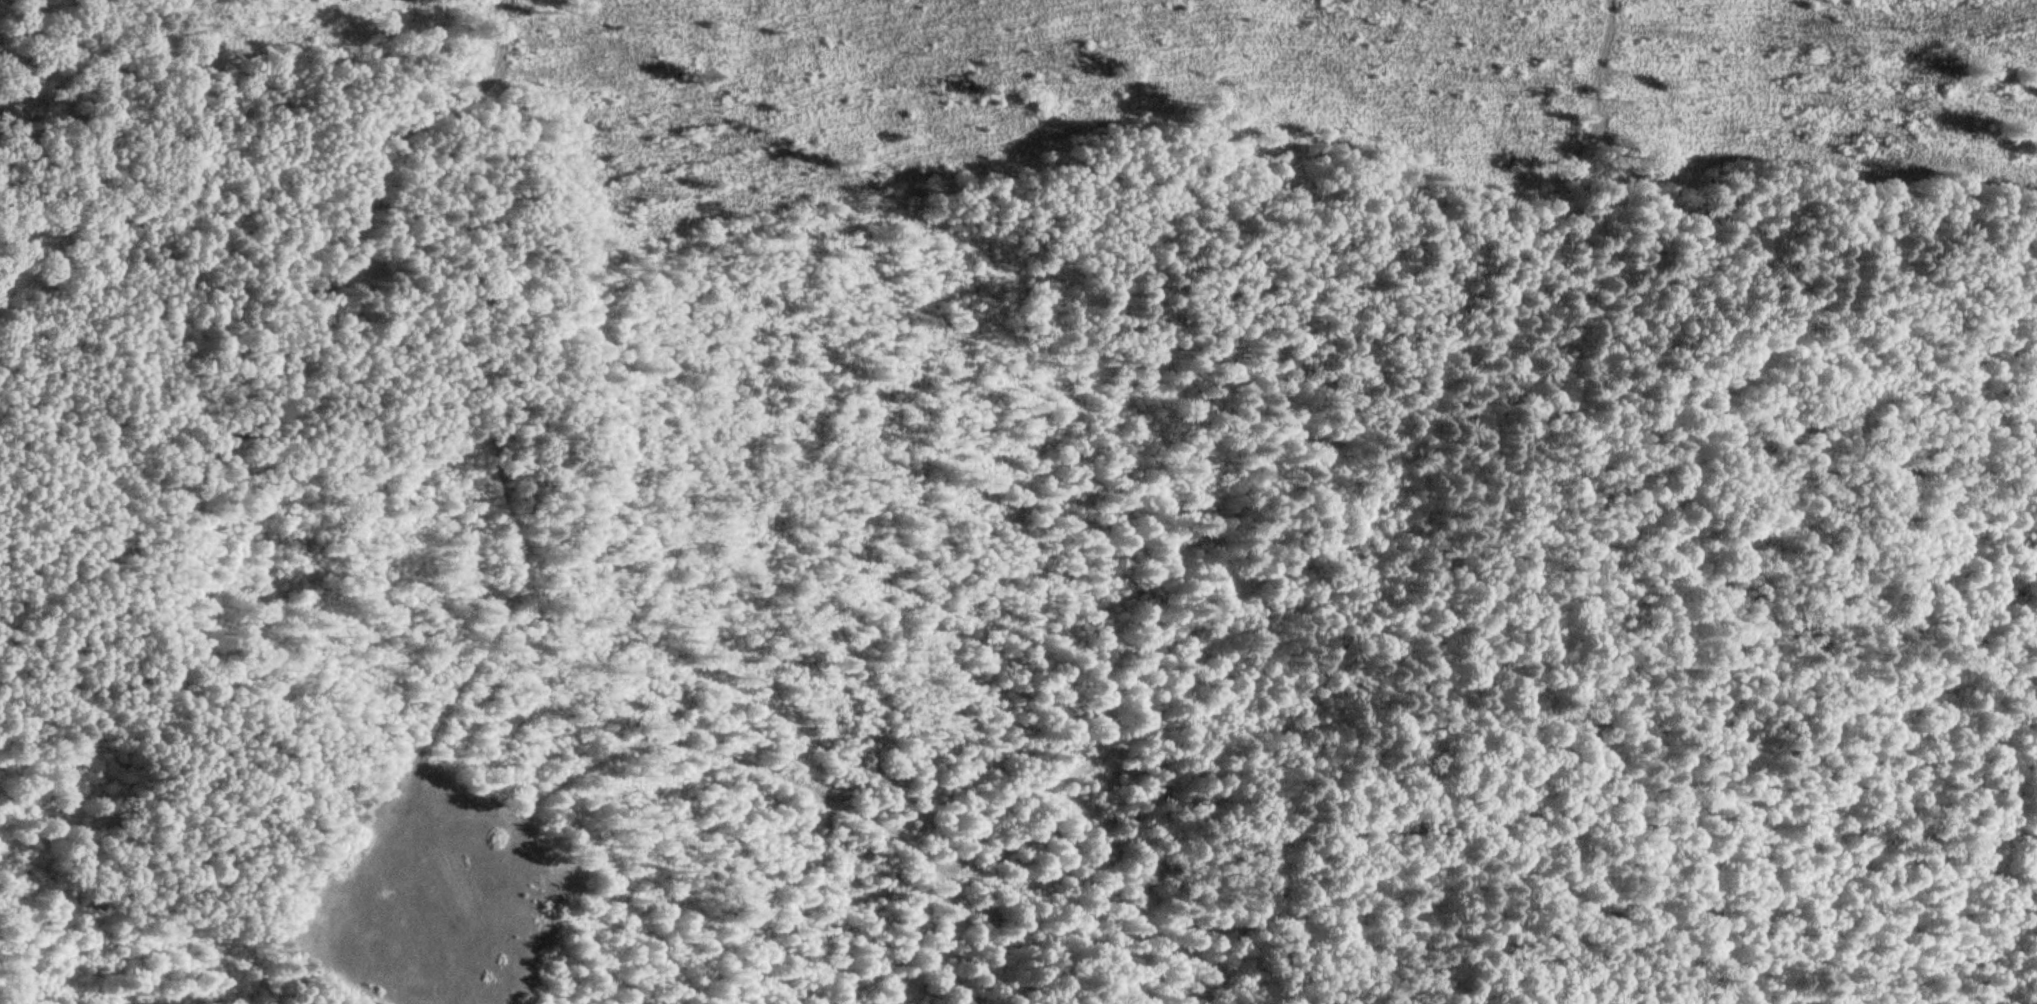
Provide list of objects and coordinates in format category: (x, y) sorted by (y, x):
road: (1607, 63)
road: (311, 344)

